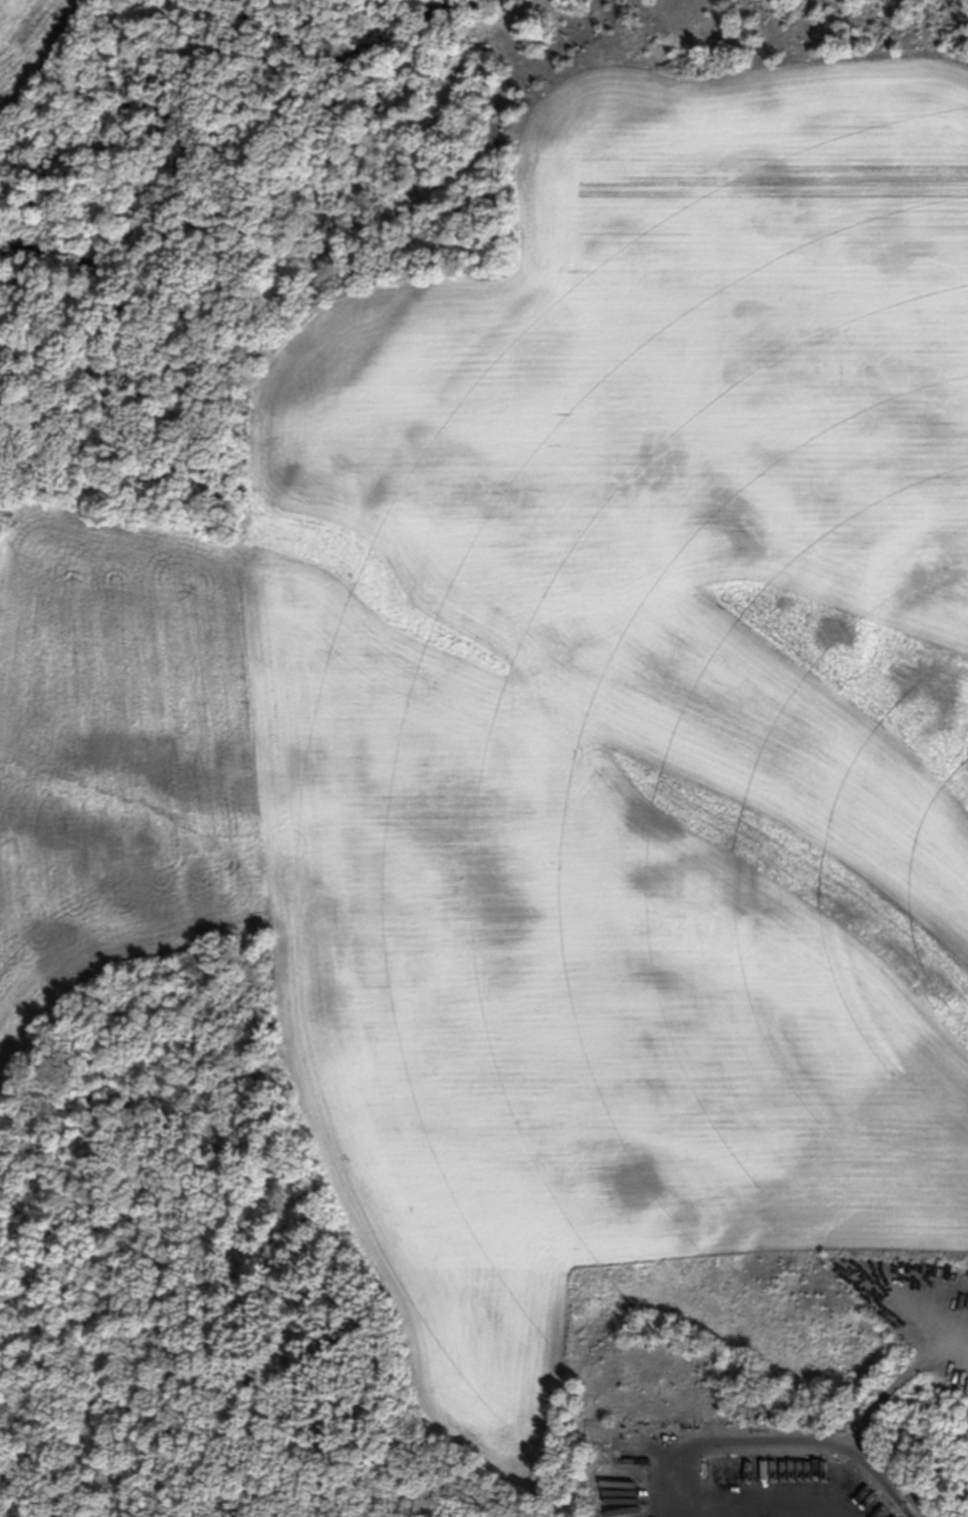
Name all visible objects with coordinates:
crop: (33, 45)
road: (742, 1513)

